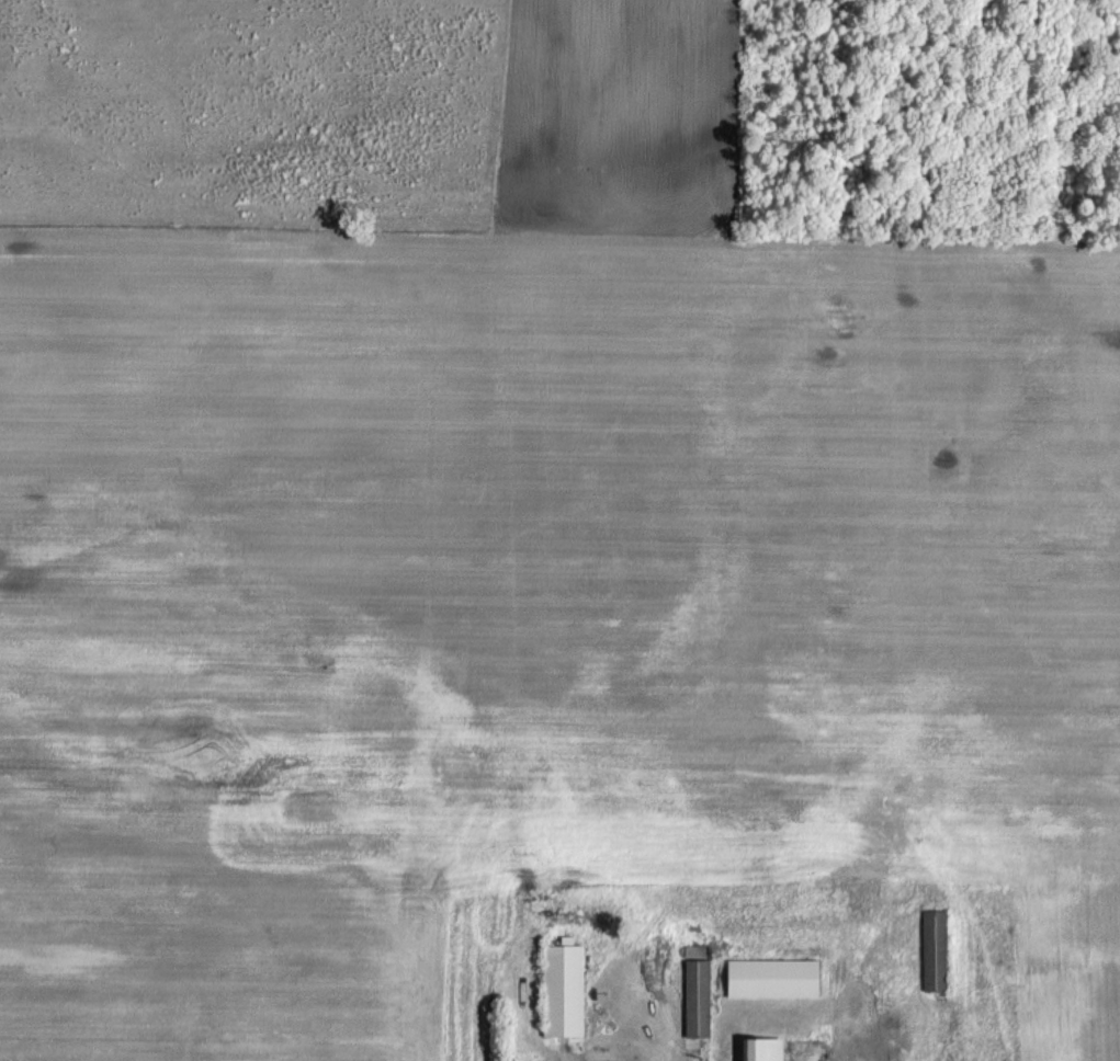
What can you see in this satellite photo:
building: (932, 950)
building: (770, 977)
building: (562, 988)
building: (695, 997)
building: (760, 1048)

